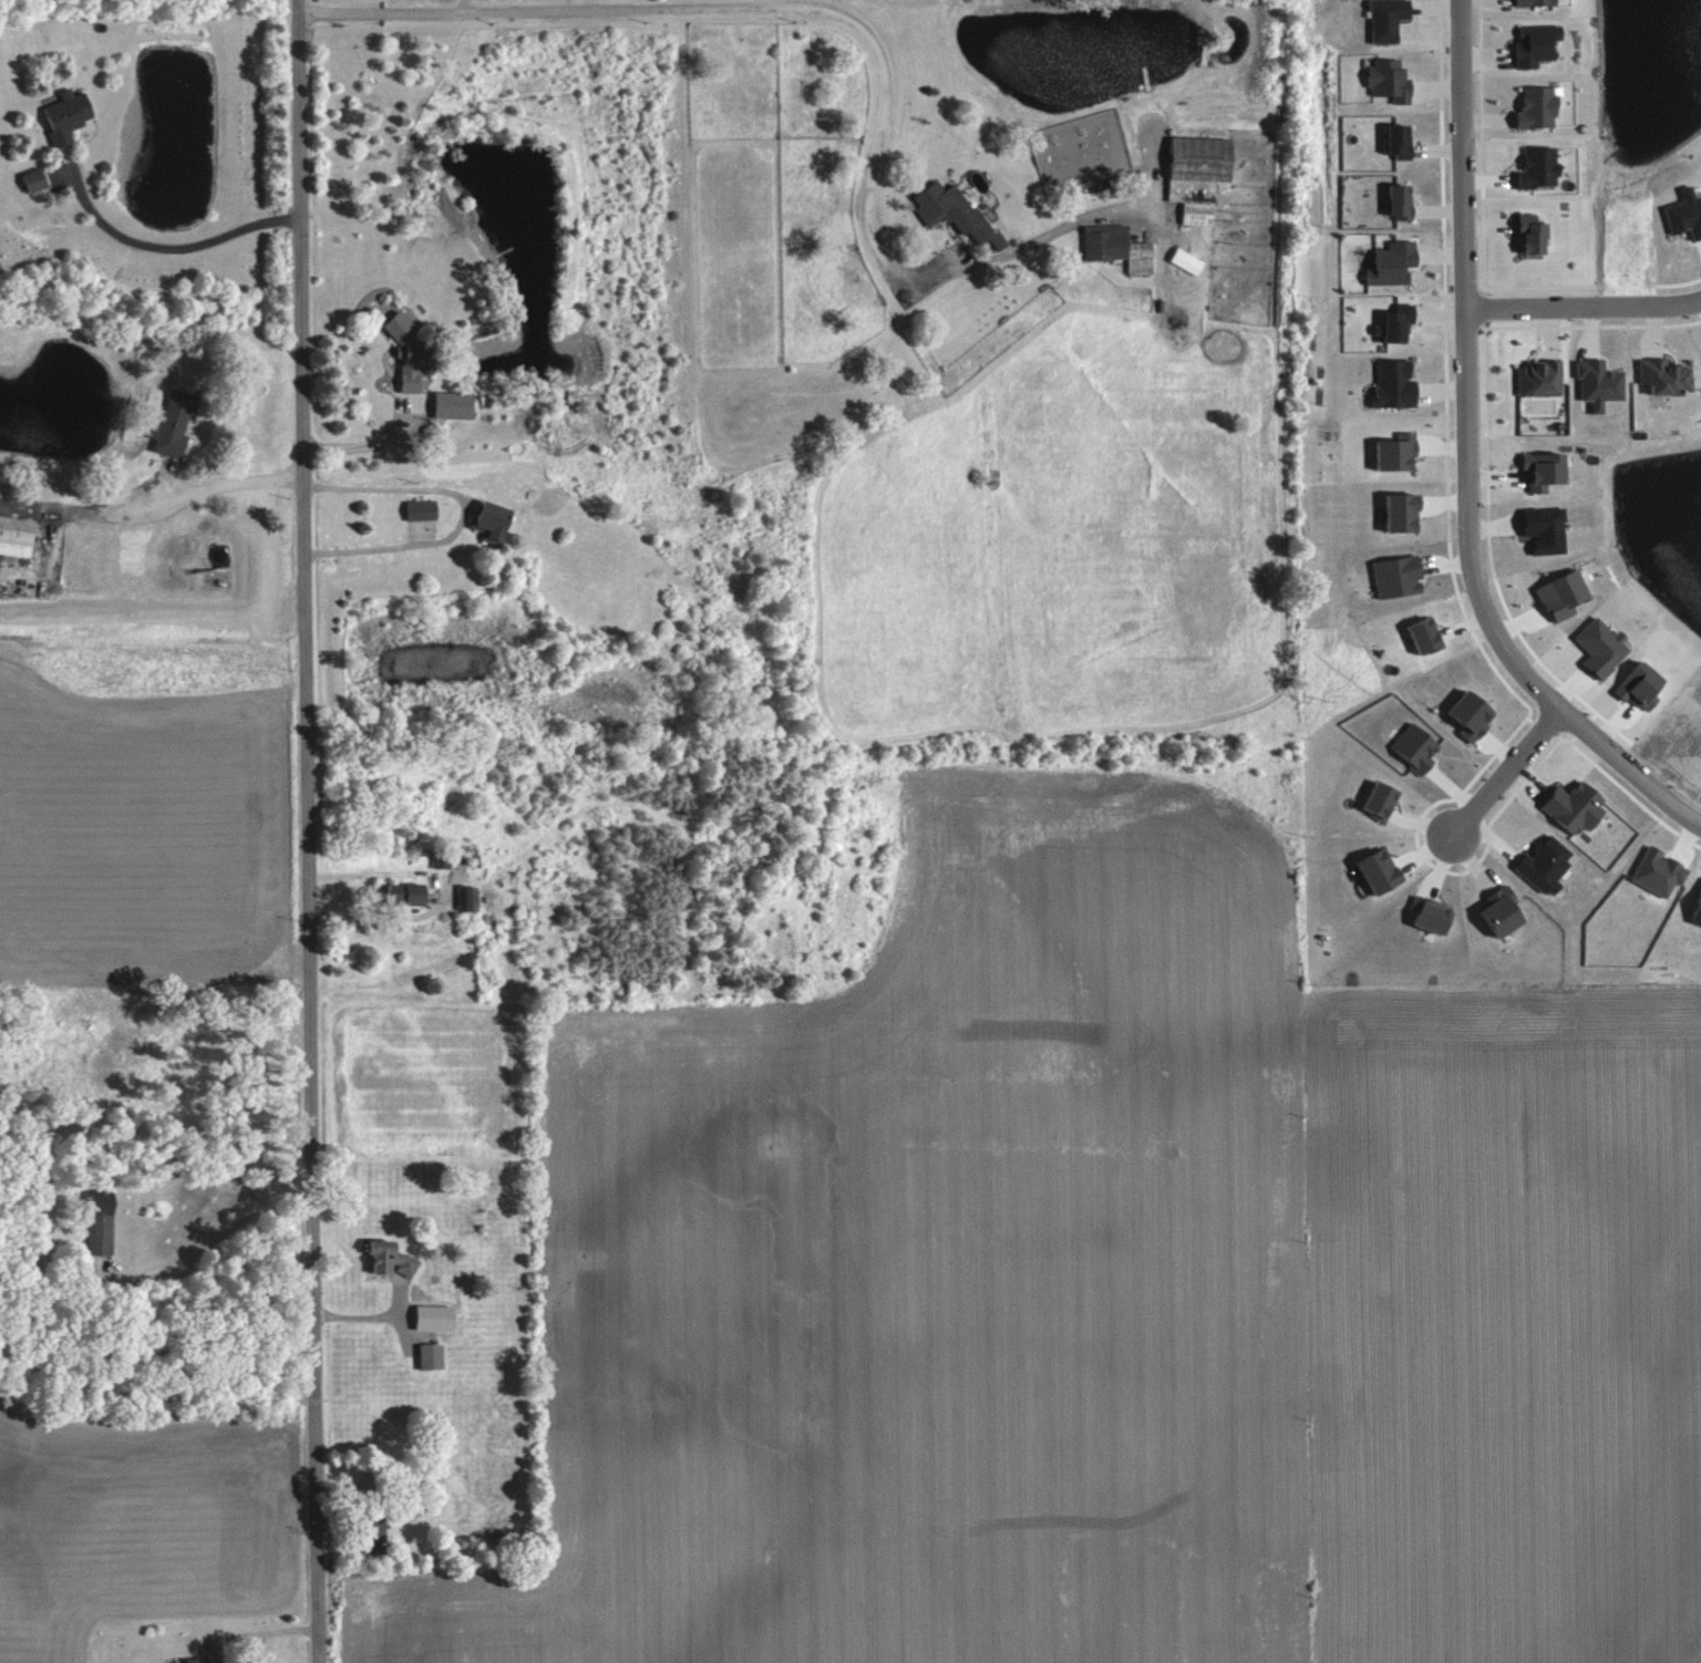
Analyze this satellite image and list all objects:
building: (1527, 2)
road: (740, 7)
building: (1380, 19)
building: (1530, 44)
building: (1383, 80)
building: (1532, 105)
building: (58, 115)
building: (1392, 141)
building: (1534, 167)
building: (1193, 175)
building: (28, 179)
building: (1393, 200)
building: (949, 211)
building: (1682, 213)
building: (1523, 233)
building: (1110, 246)
road: (172, 248)
building: (1172, 255)
building: (1388, 262)
road: (1583, 306)
building: (1390, 322)
building: (390, 326)
building: (403, 374)
building: (1660, 376)
building: (1534, 379)
building: (1389, 382)
building: (1594, 383)
building: (452, 404)
building: (166, 427)
road: (369, 441)
building: (1389, 452)
road: (1465, 459)
building: (1535, 469)
road: (234, 481)
building: (414, 509)
building: (1393, 512)
road: (461, 513)
building: (481, 519)
building: (1539, 528)
building: (13, 535)
building: (1391, 575)
building: (1556, 595)
building: (1417, 633)
building: (1594, 647)
building: (1632, 685)
building: (1461, 713)
building: (1408, 747)
road: (1506, 771)
building: (1371, 800)
building: (1566, 805)
road: (315, 830)
building: (1538, 864)
building: (1368, 869)
building: (1651, 871)
building: (401, 894)
building: (1692, 909)
building: (1491, 912)
building: (1421, 915)
building: (99, 1221)
road: (219, 1232)
building: (377, 1258)
road: (357, 1316)
building: (427, 1318)
building: (424, 1356)
building: (187, 1660)

